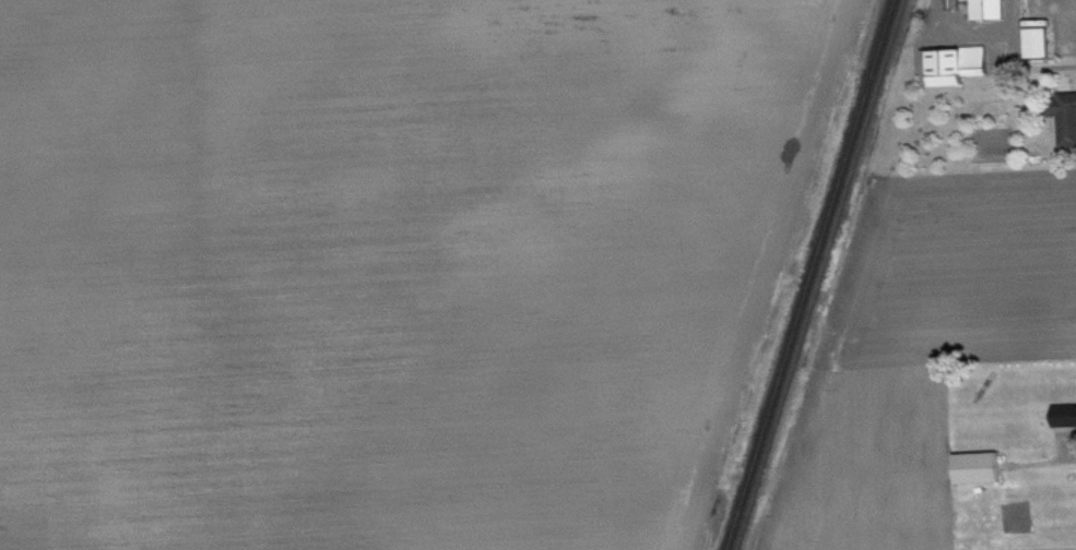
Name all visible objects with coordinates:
building: (994, 12)
road: (1014, 29)
road: (971, 31)
building: (1043, 49)
road: (1043, 67)
building: (962, 71)
building: (1069, 125)
railway: (813, 275)
building: (1067, 421)
road: (1061, 467)
building: (982, 474)

